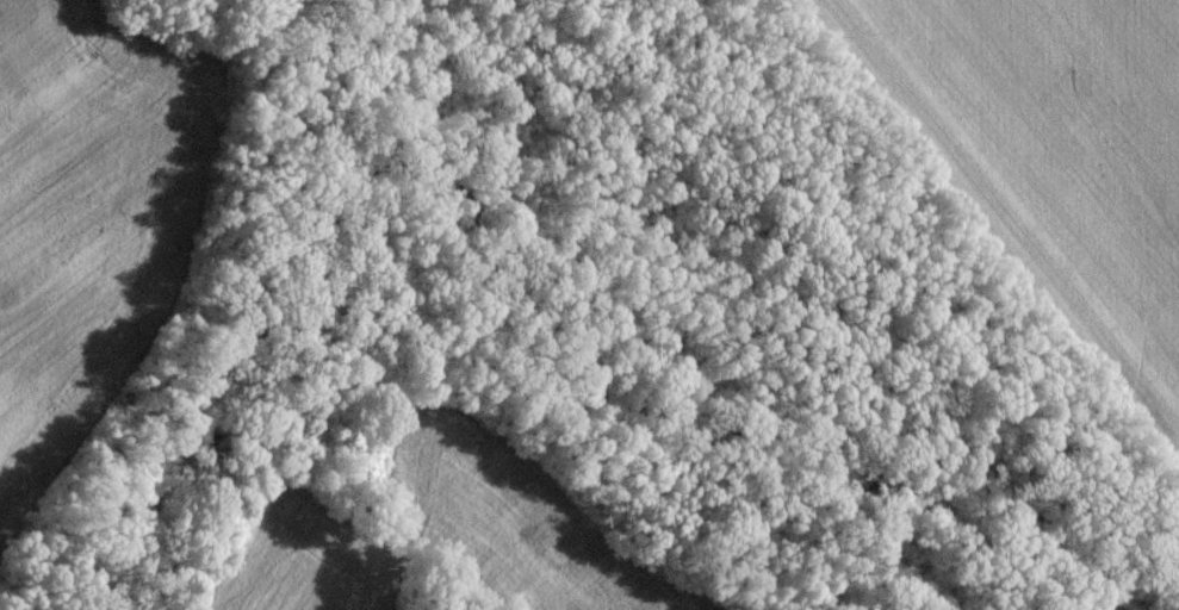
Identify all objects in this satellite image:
crop: (88, 222)

